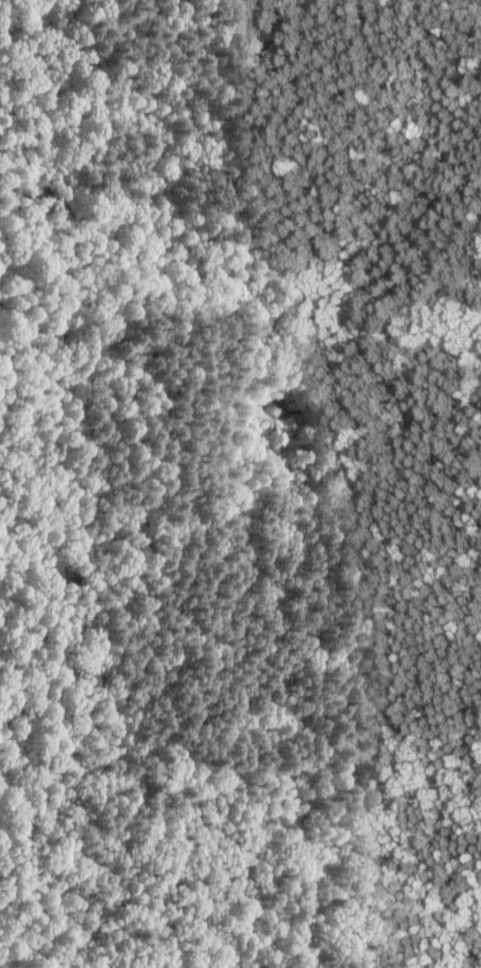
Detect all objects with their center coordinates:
road: (227, 778)

